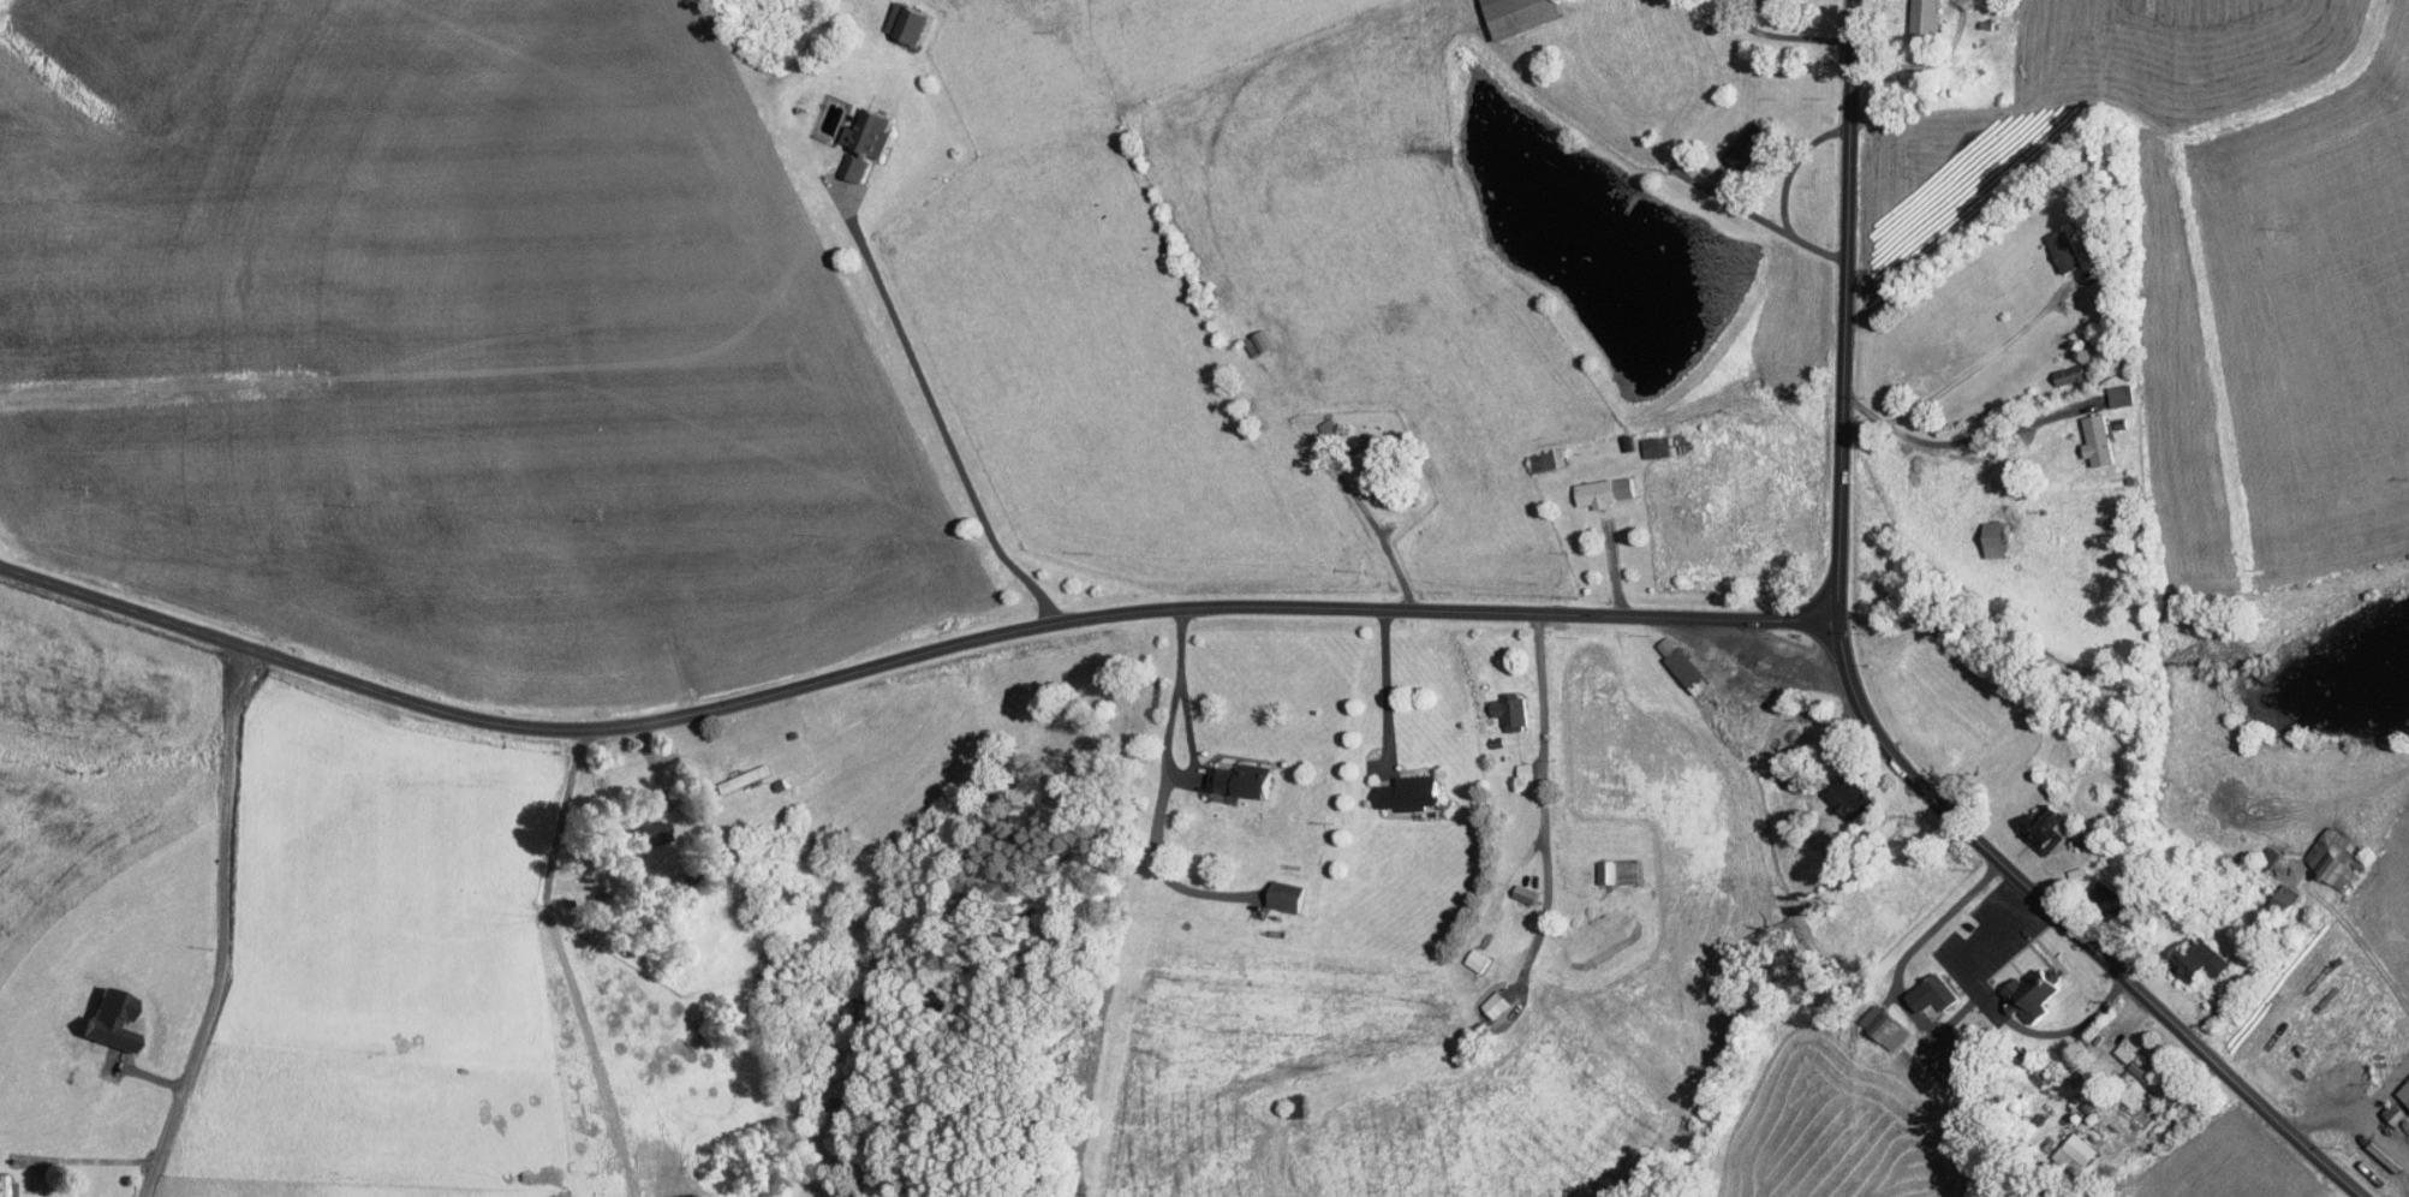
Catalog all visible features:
building: (1507, 12)
building: (1913, 12)
building: (894, 17)
building: (855, 125)
building: (1735, 138)
building: (840, 160)
building: (2051, 244)
road: (1845, 306)
building: (1247, 335)
road: (1979, 362)
building: (2058, 368)
building: (2109, 388)
building: (2086, 433)
road: (1970, 437)
road: (899, 439)
building: (1652, 439)
building: (1534, 453)
building: (1591, 484)
building: (1982, 532)
road: (905, 656)
building: (1670, 657)
building: (1498, 703)
building: (1513, 764)
building: (732, 769)
building: (1229, 773)
building: (1397, 786)
building: (1841, 791)
road: (1545, 798)
building: (2031, 820)
building: (631, 824)
building: (2324, 850)
building: (1605, 863)
building: (1513, 885)
building: (1274, 888)
building: (2098, 888)
building: (2270, 892)
road: (226, 925)
road: (2070, 925)
building: (1465, 952)
building: (2187, 952)
building: (1920, 985)
building: (2020, 985)
building: (1484, 996)
building: (99, 1011)
building: (1872, 1018)
building: (2111, 1044)
building: (2142, 1074)
building: (2401, 1083)
building: (2064, 1145)
building: (0, 1181)
building: (674, 1192)

